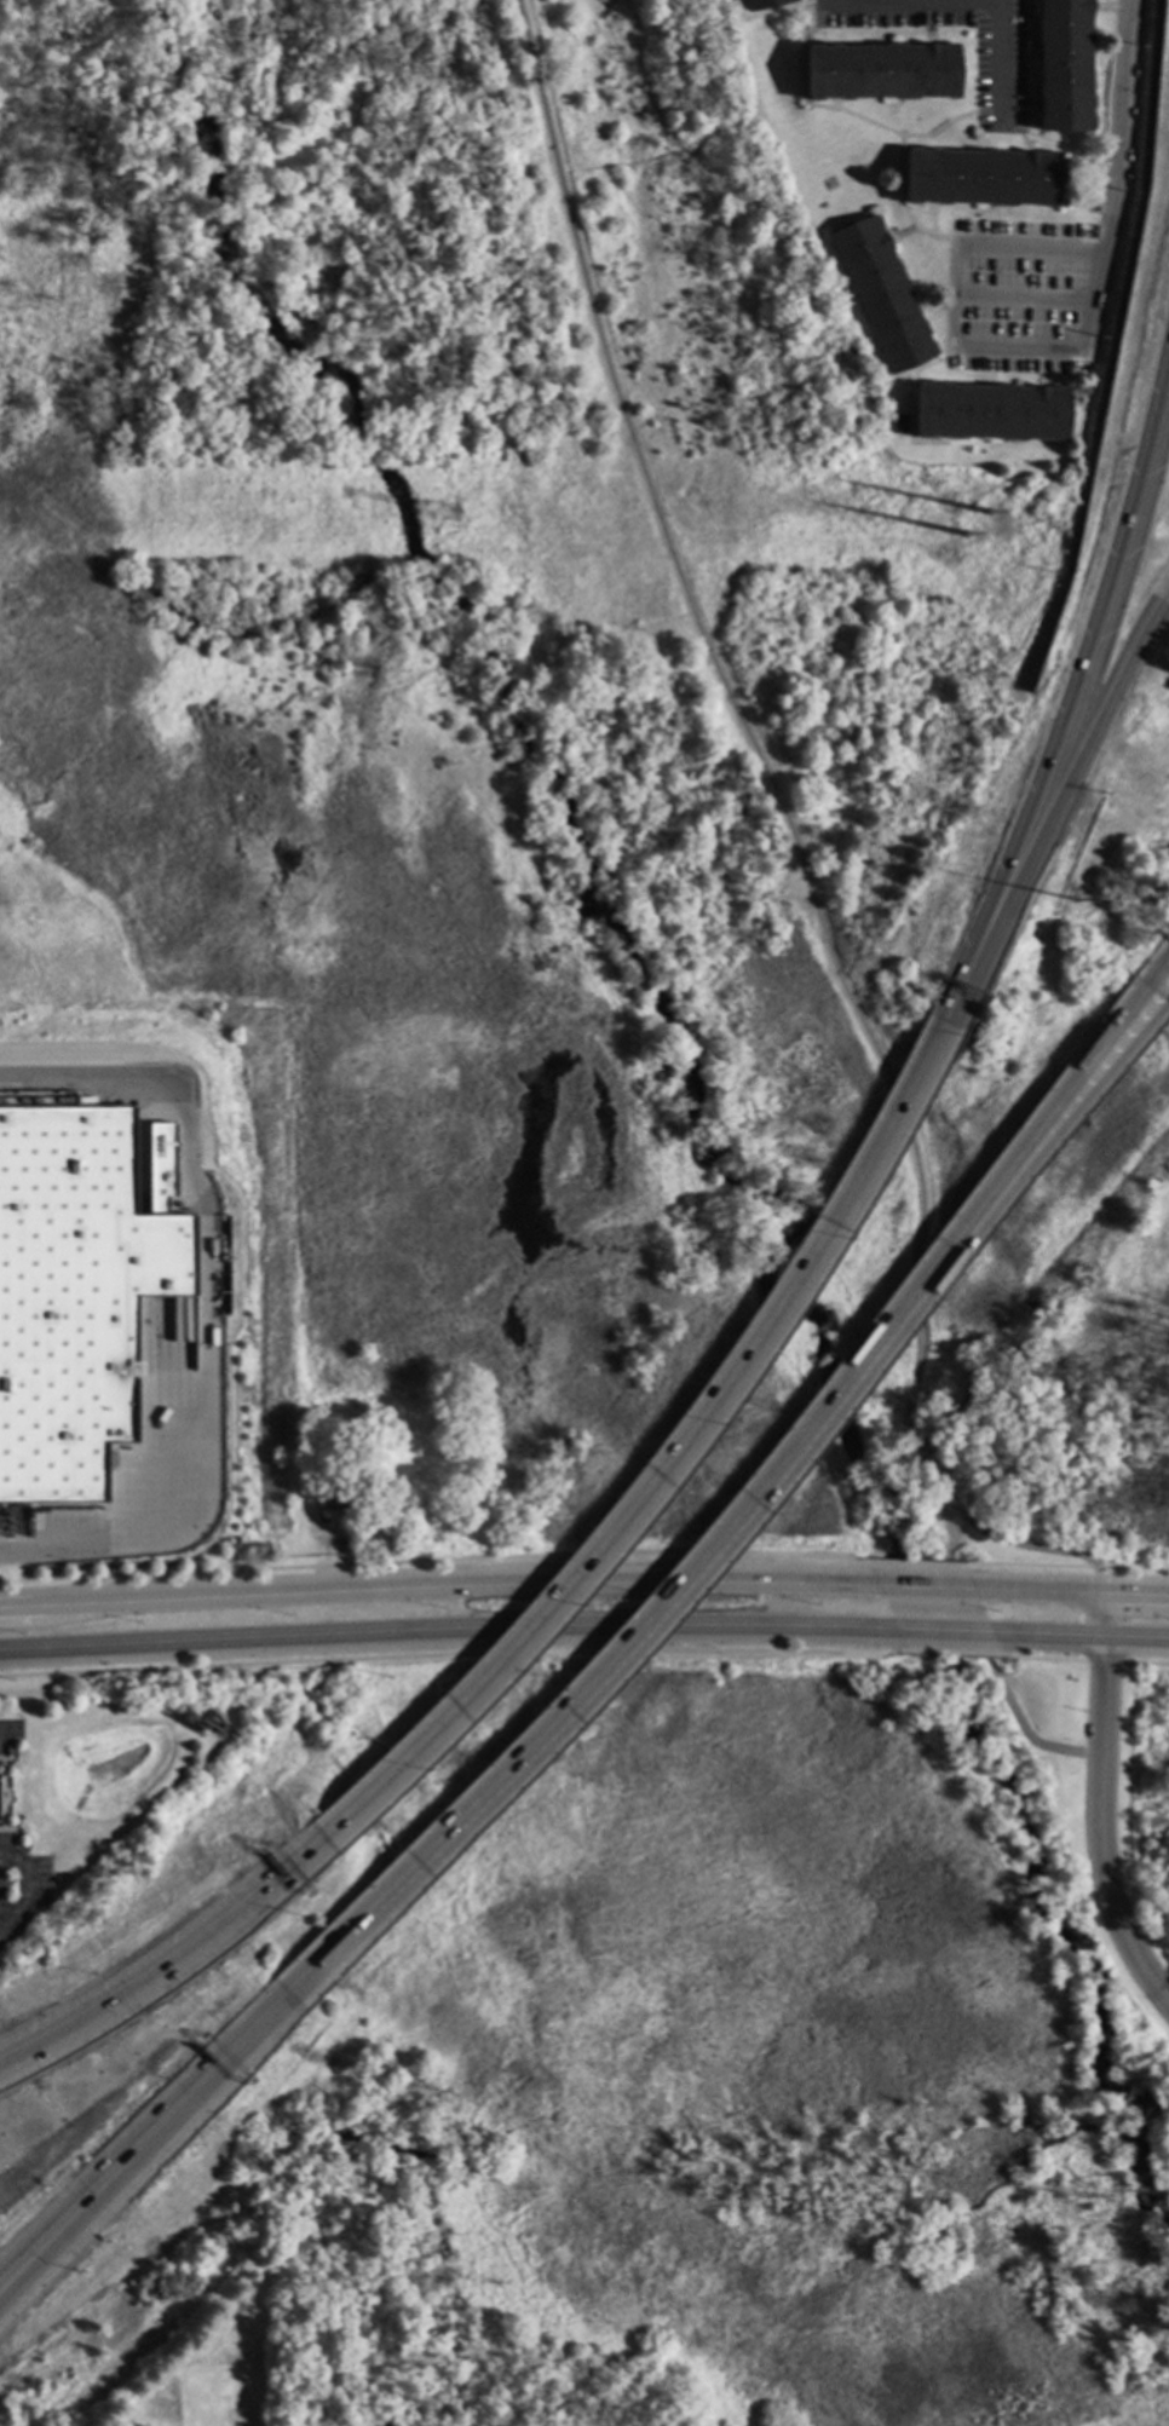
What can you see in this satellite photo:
road: (966, 0)
building: (764, 4)
building: (1065, 65)
building: (882, 73)
parking lot: (1002, 79)
building: (980, 178)
road: (1107, 179)
parking lot: (1031, 287)
road: (954, 290)
building: (882, 295)
park: (145, 325)
building: (990, 413)
building: (899, 425)
power tower: (941, 509)
power tower: (444, 512)
road: (1106, 620)
park: (545, 699)
road: (1098, 719)
road: (813, 905)
river: (719, 1036)
building: (56, 1101)
building: (74, 1296)
road: (200, 1313)
road: (735, 1362)
road: (818, 1418)
park: (1075, 1448)
building: (342, 1500)
road: (1019, 1543)
road: (437, 1579)
road: (923, 1581)
road: (1071, 1586)
road: (1088, 1625)
road: (1104, 1625)
road: (447, 1630)
road: (945, 1635)
road: (1081, 1638)
road: (1111, 1661)
road: (1101, 1708)
road: (7, 1730)
park: (1150, 1784)
road: (1107, 1888)
road: (24, 1897)
road: (186, 1952)
road: (298, 1994)
park: (765, 2079)
road: (74, 2215)
road: (74, 2225)

